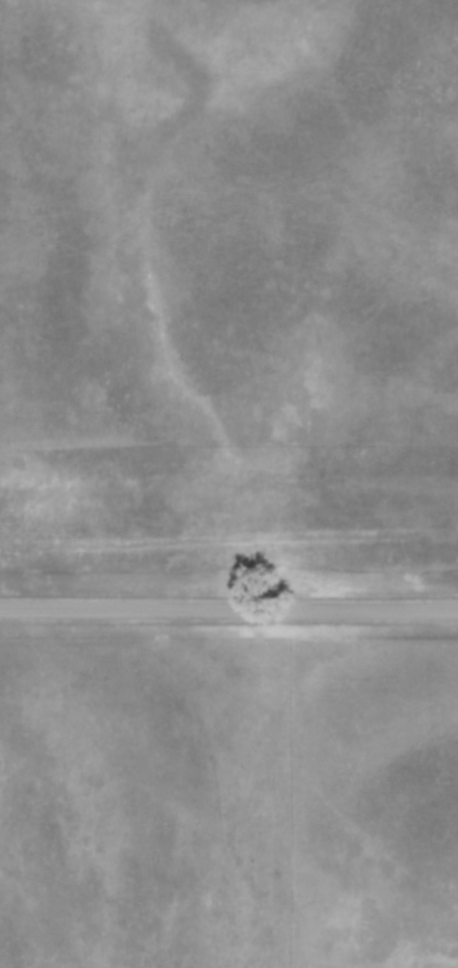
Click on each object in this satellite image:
road: (229, 609)

